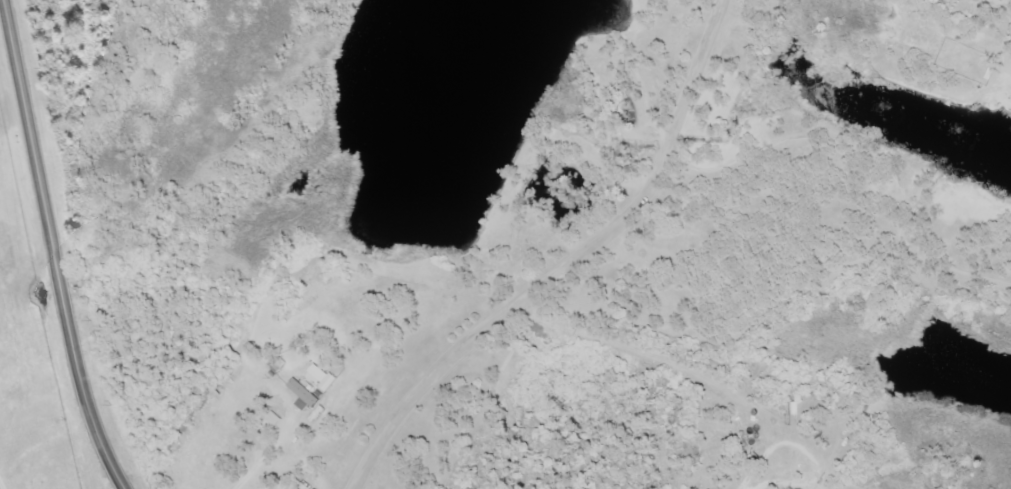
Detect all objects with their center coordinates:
road: (1002, 6)
road: (49, 248)
road: (567, 264)
road: (688, 373)
road: (1, 486)

